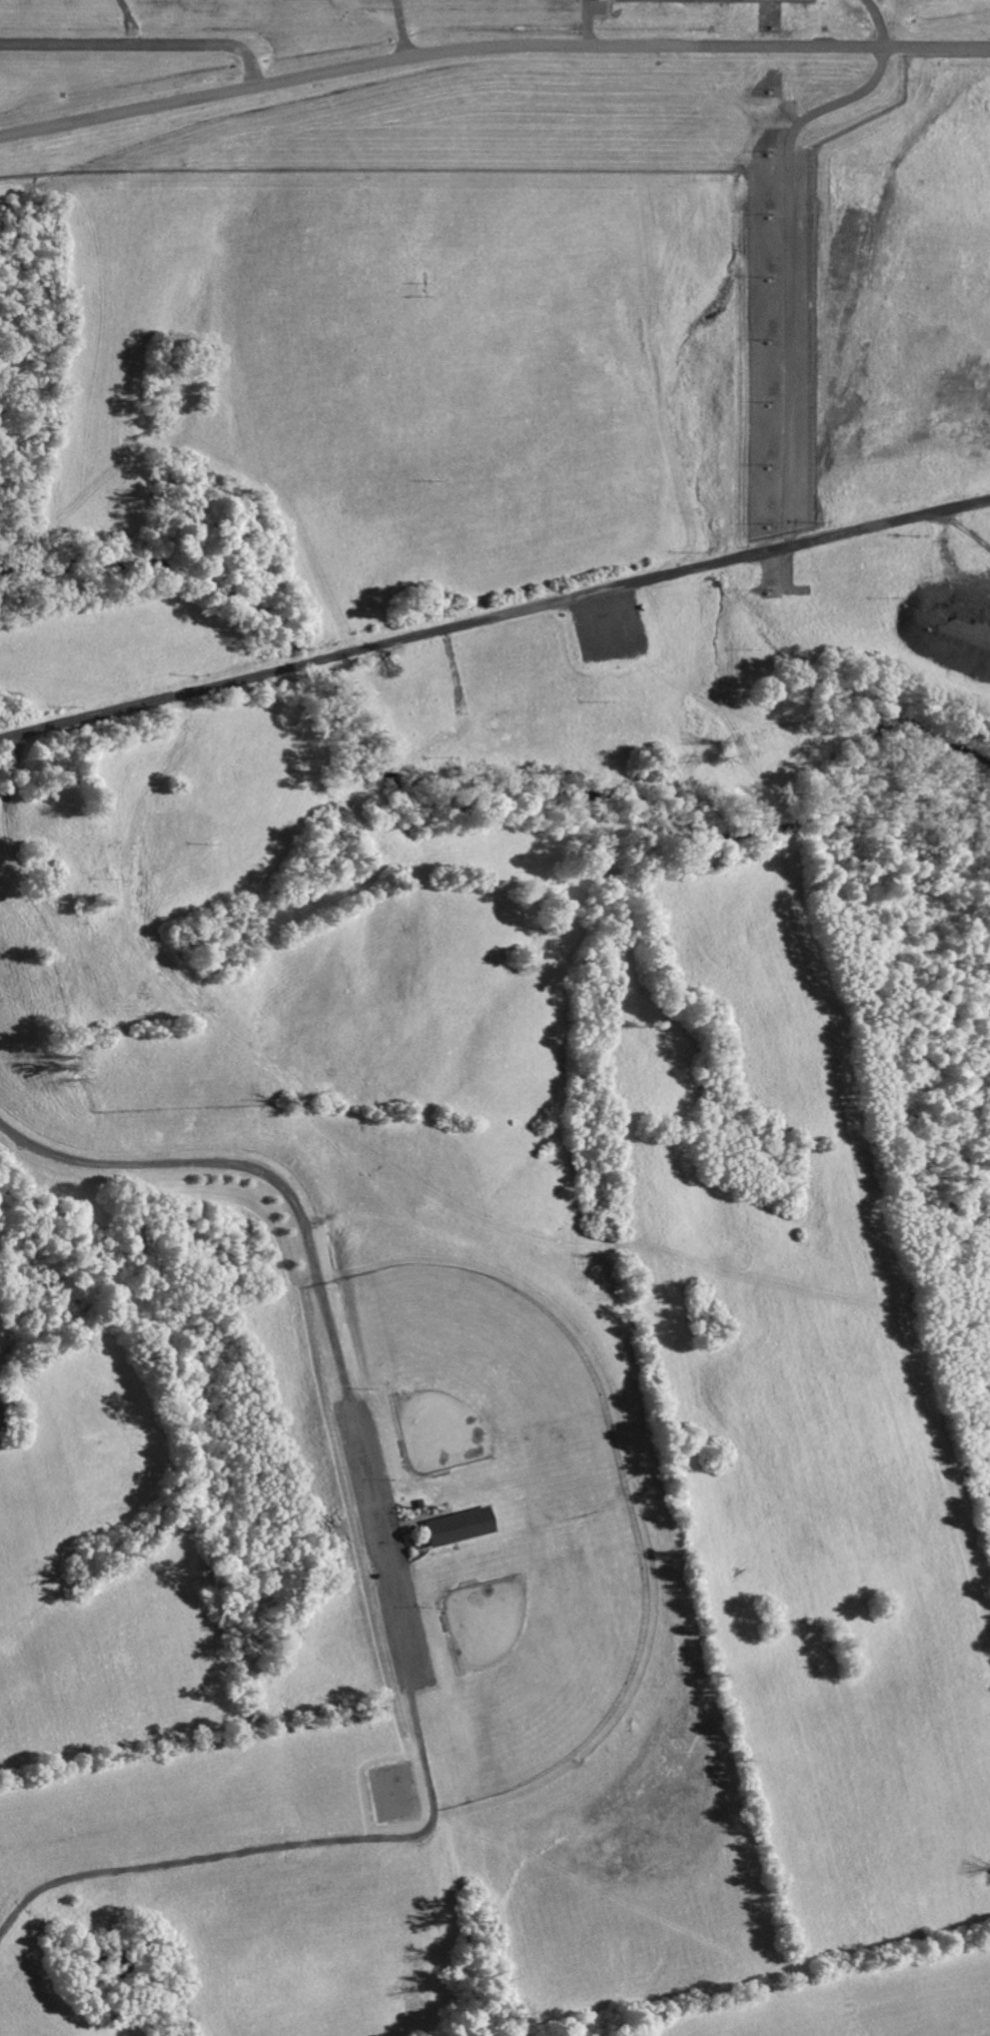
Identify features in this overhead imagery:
road: (586, 22)
road: (822, 23)
road: (401, 27)
road: (138, 45)
road: (490, 45)
airport: (507, 125)
road: (782, 236)
road: (781, 540)
road: (494, 617)
road: (322, 1287)
park: (475, 1370)
building: (464, 1524)
parking lot: (385, 1547)
park: (539, 1643)

